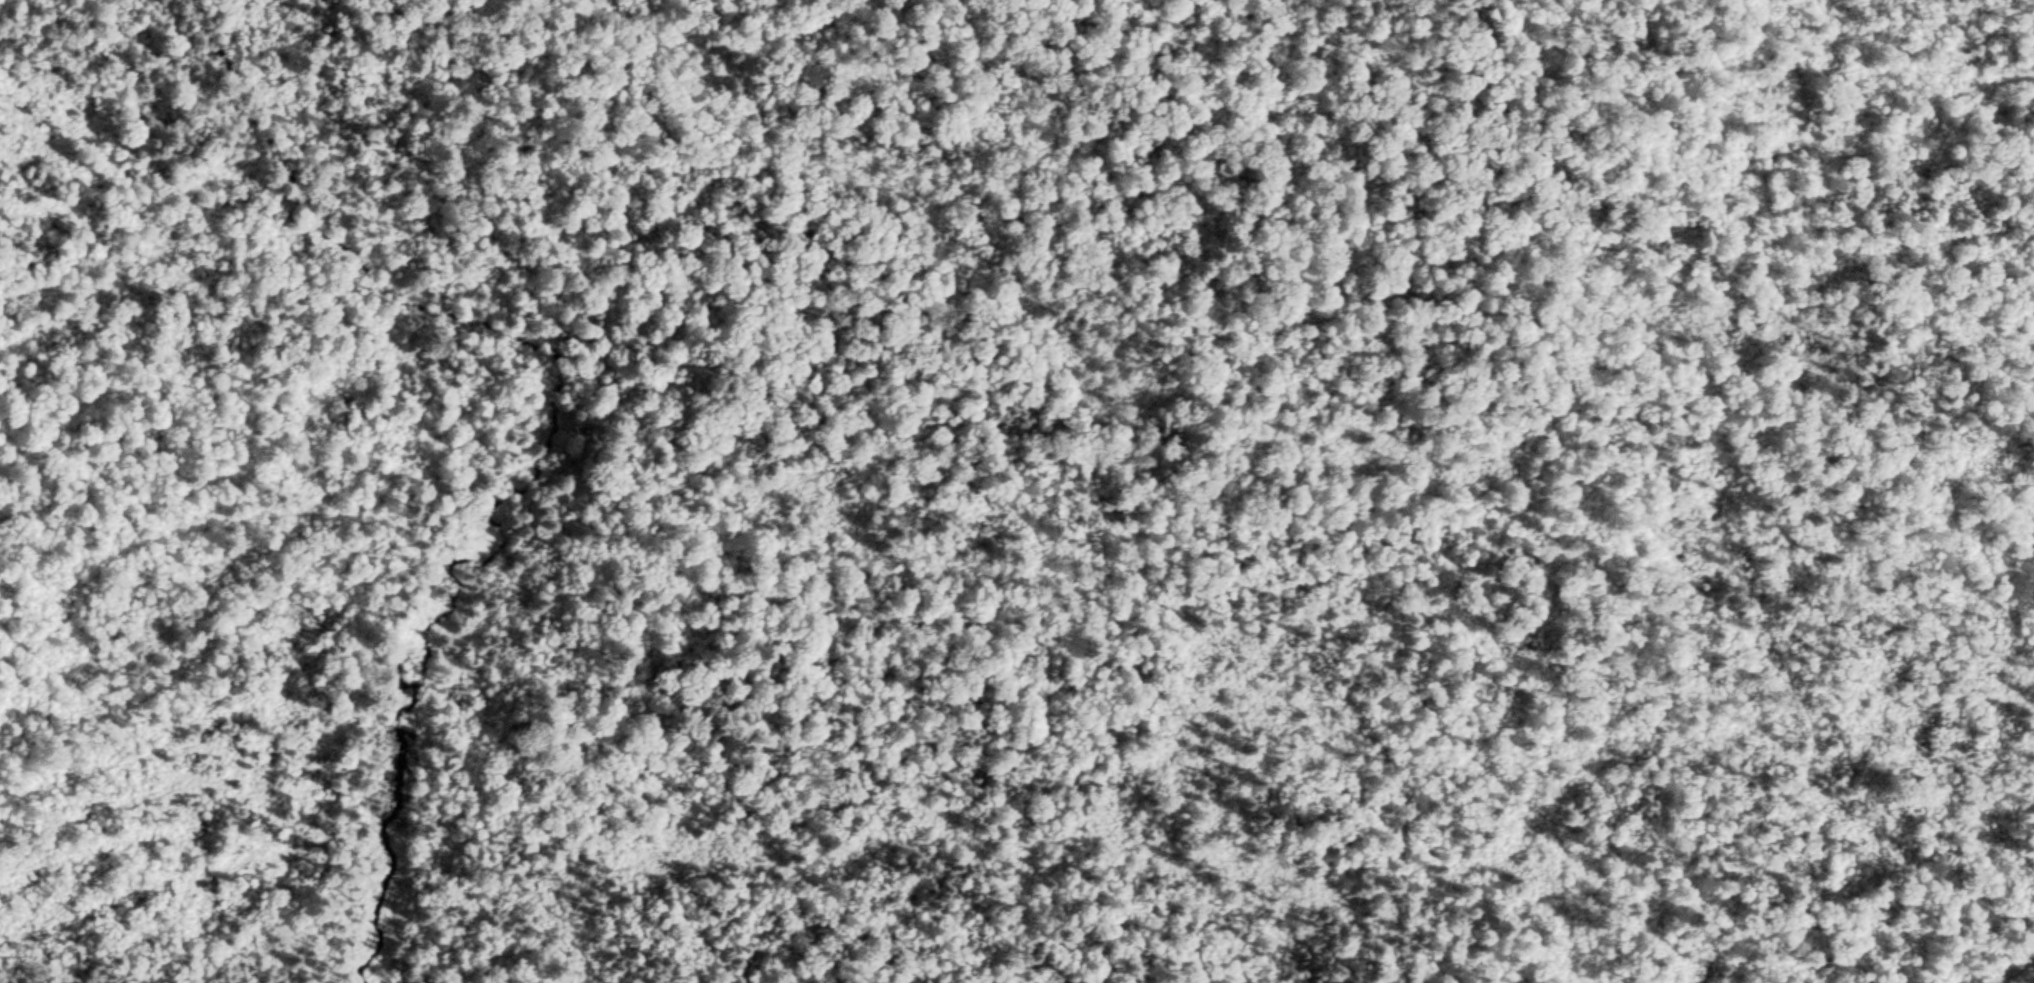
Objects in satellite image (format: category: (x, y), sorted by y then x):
road: (1690, 932)
road: (1988, 959)

